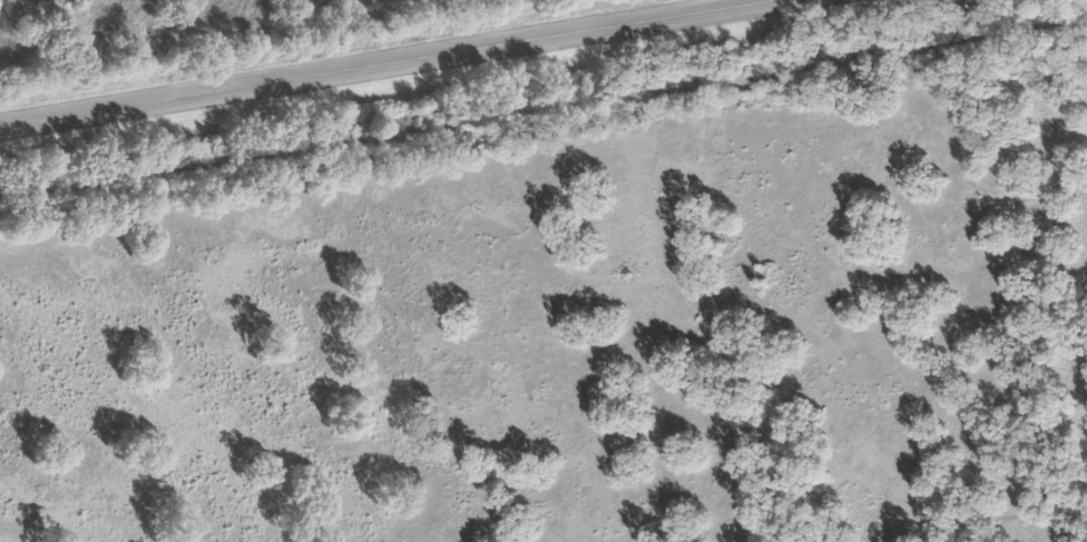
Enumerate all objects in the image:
road: (393, 67)
railway: (543, 102)

